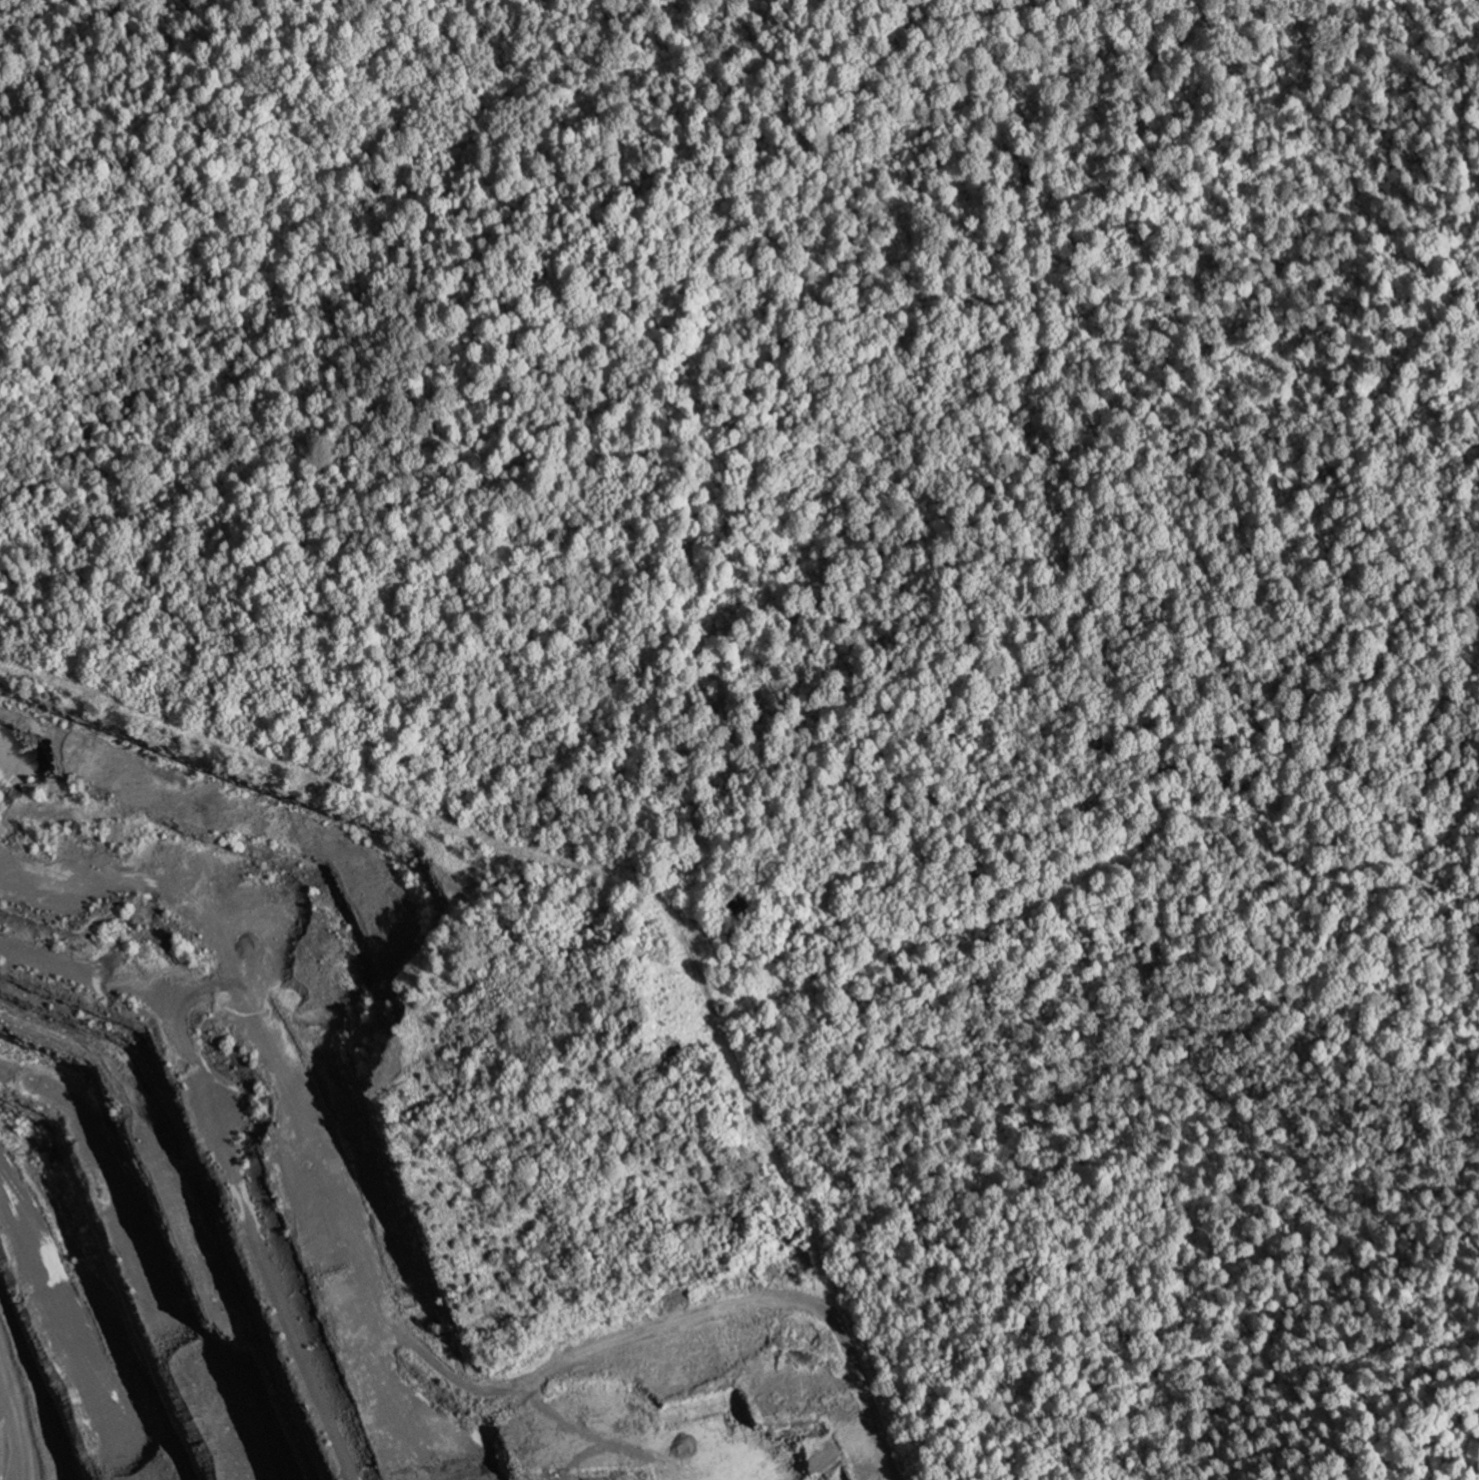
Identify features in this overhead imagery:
road: (632, 874)
quarry: (303, 1203)
road: (607, 1336)
road: (470, 1429)

